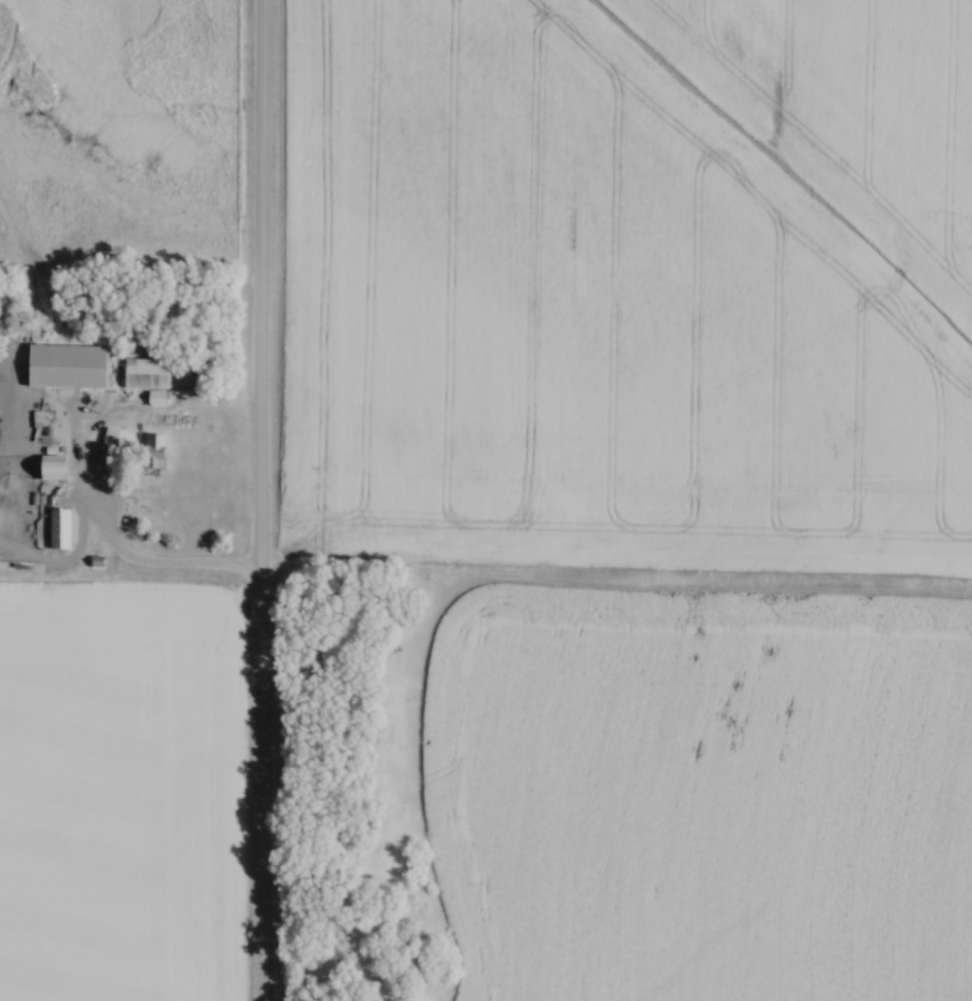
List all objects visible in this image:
building: (71, 366)
building: (150, 373)
building: (119, 439)
building: (61, 465)
road: (262, 500)
building: (65, 528)
road: (150, 567)

